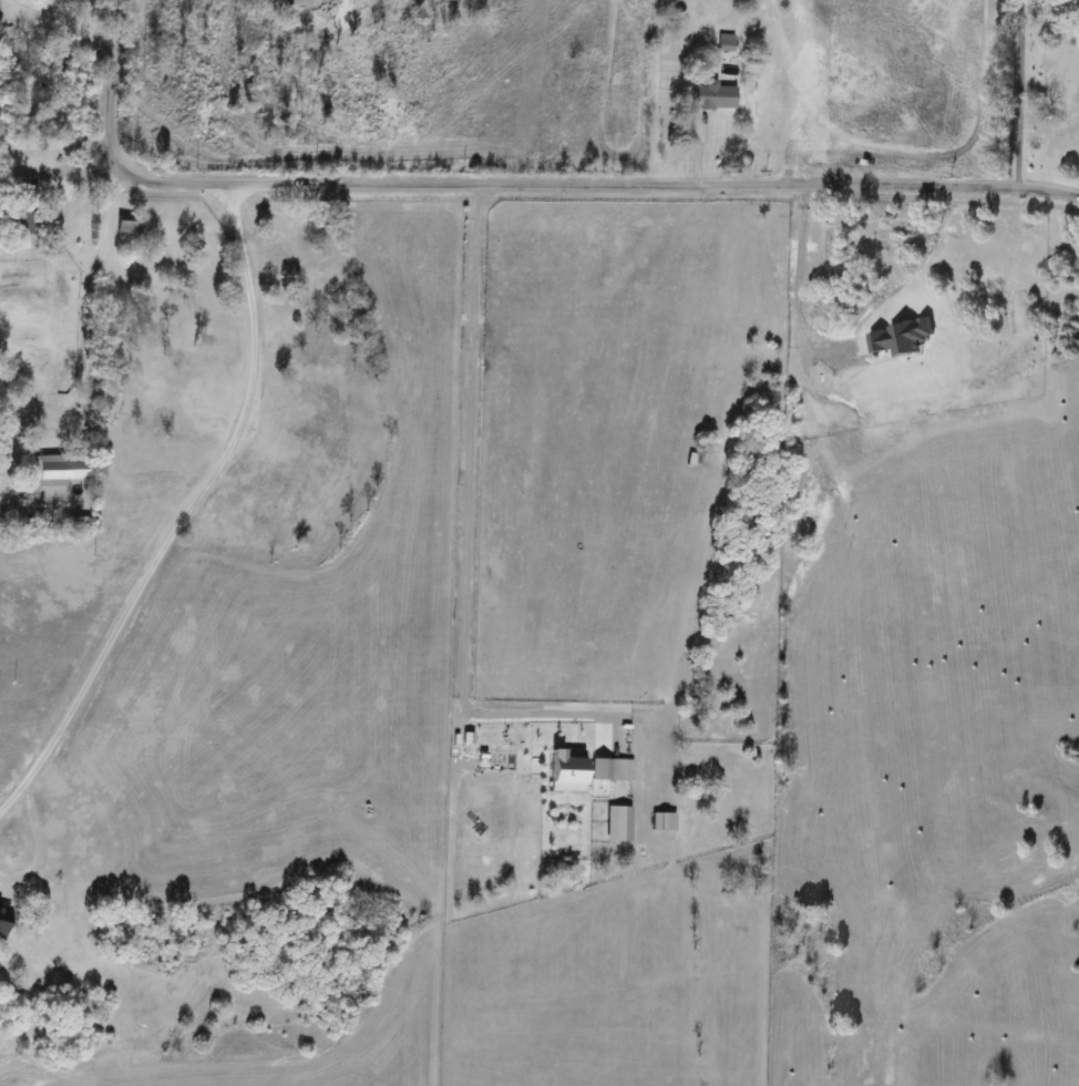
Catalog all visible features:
building: (725, 43)
road: (1021, 94)
building: (713, 98)
road: (54, 142)
road: (510, 186)
building: (20, 187)
building: (19, 227)
building: (127, 227)
road: (799, 285)
road: (80, 317)
building: (50, 471)
road: (182, 512)
road: (458, 570)

